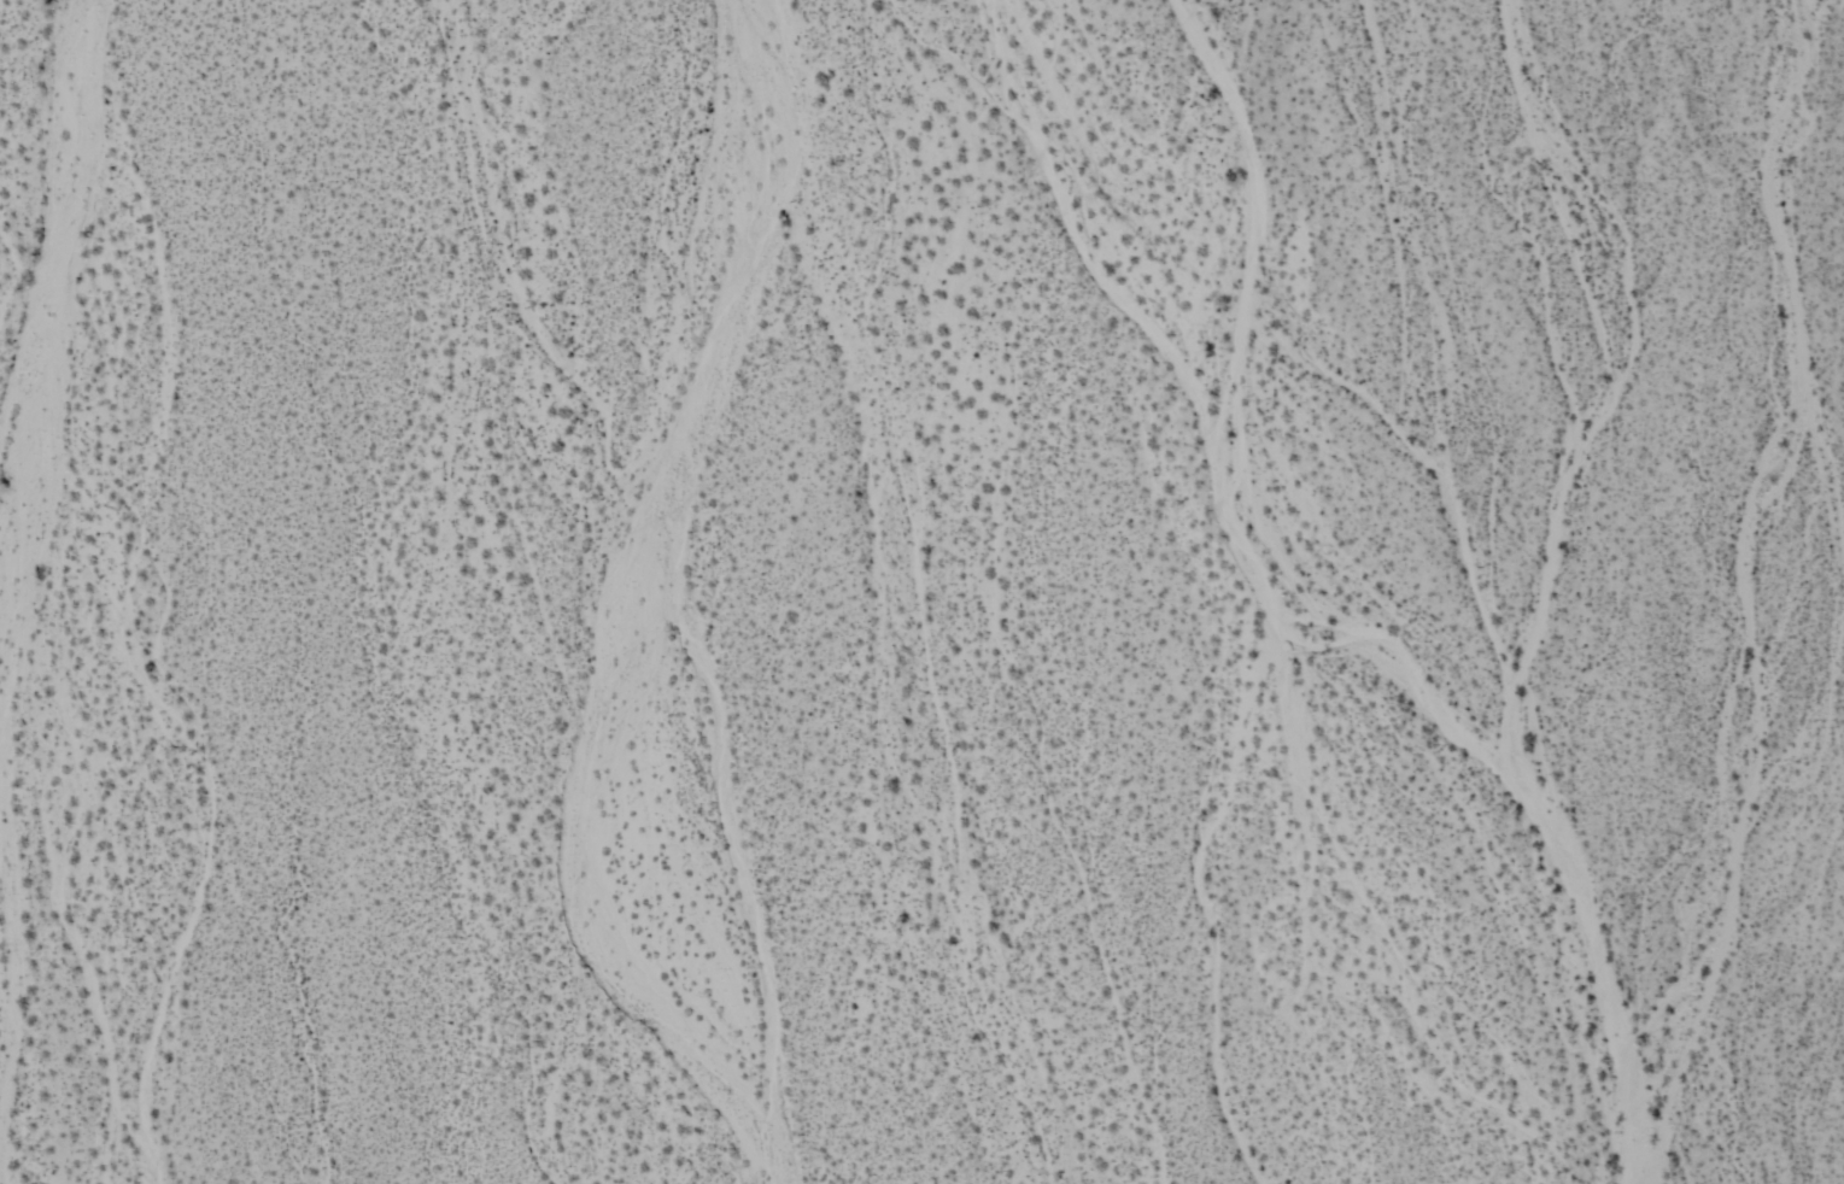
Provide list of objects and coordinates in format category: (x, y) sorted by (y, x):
road: (28, 1172)

